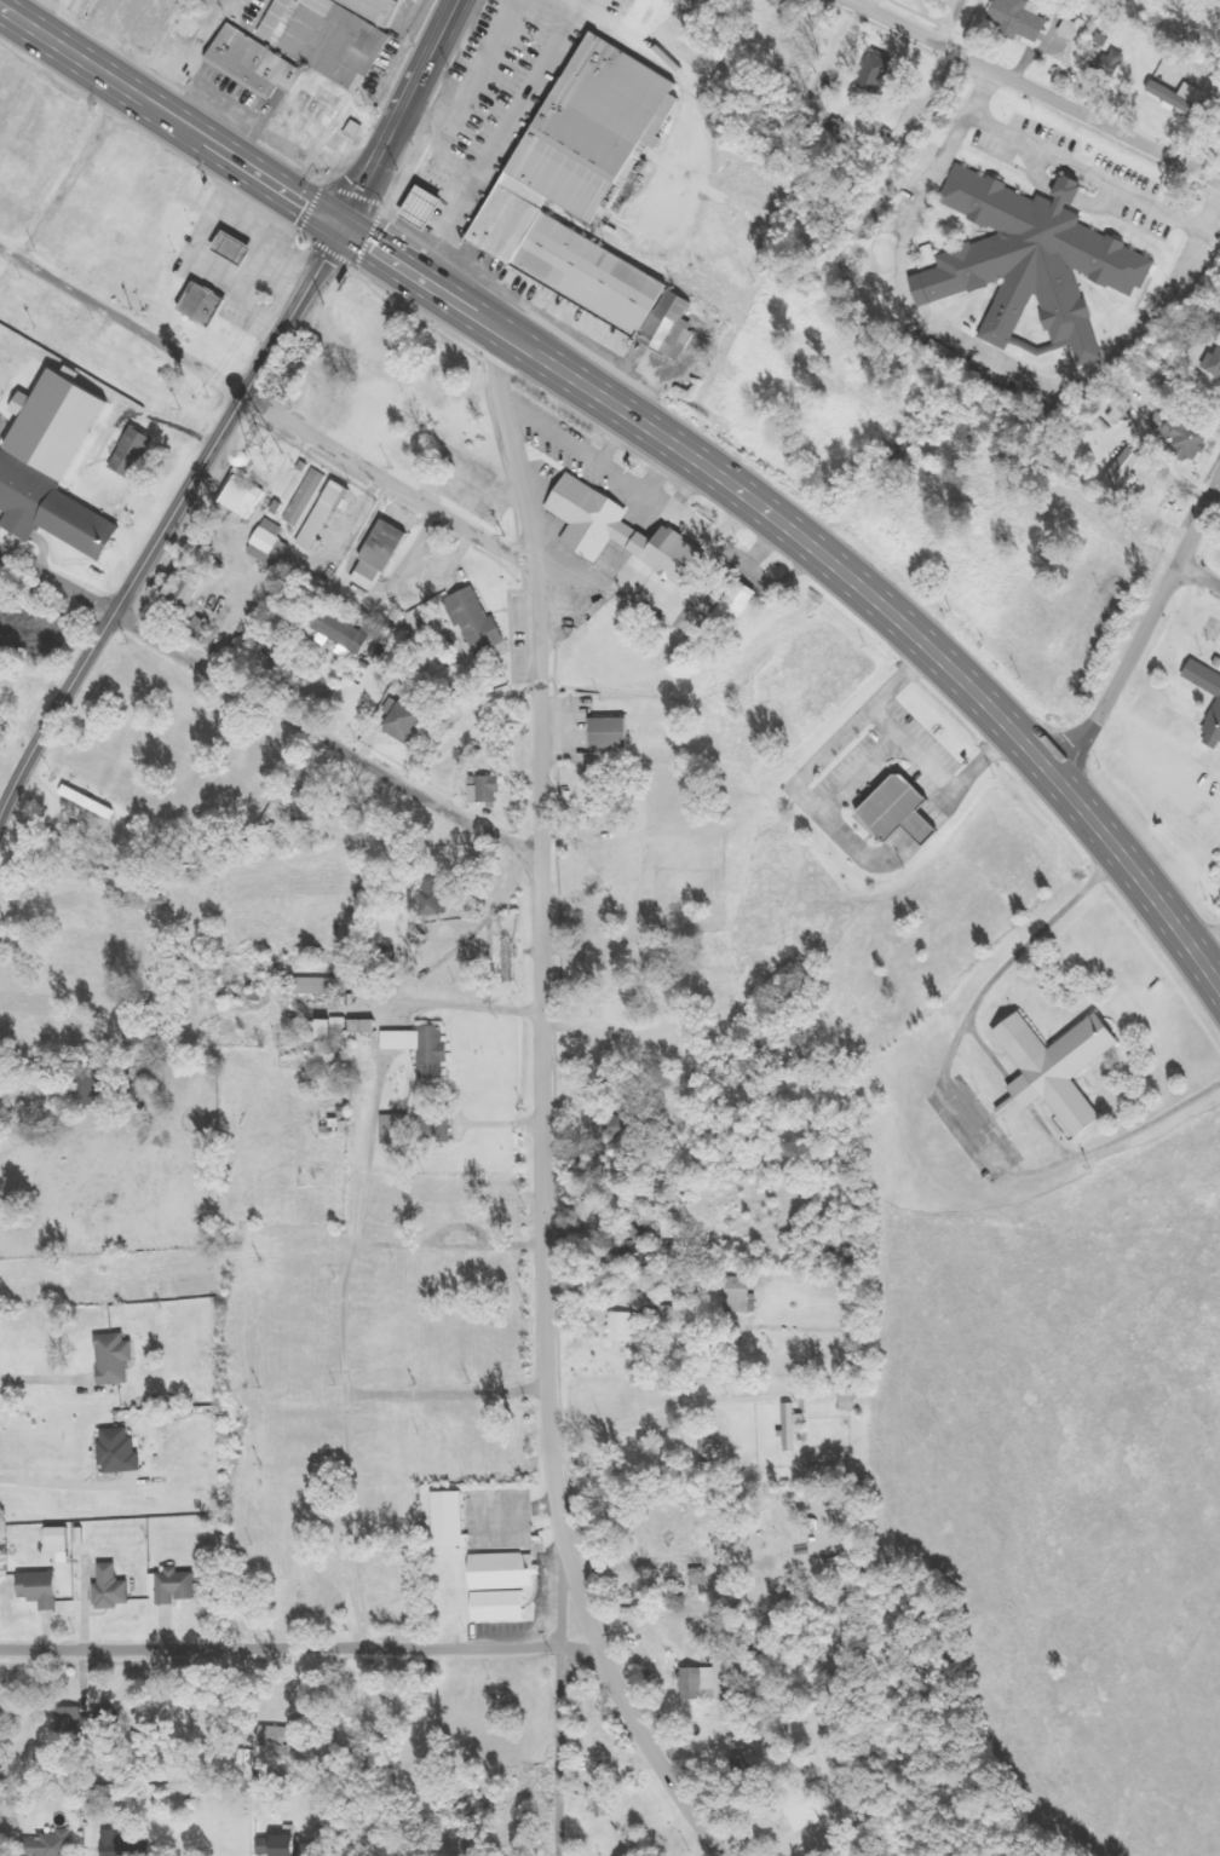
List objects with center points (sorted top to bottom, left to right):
building: (1026, 18)
building: (672, 19)
road: (953, 24)
building: (192, 29)
building: (1077, 29)
building: (327, 38)
building: (1117, 62)
building: (260, 64)
building: (881, 74)
road: (1029, 91)
building: (1185, 97)
road: (402, 111)
building: (289, 122)
building: (301, 126)
building: (595, 128)
building: (359, 131)
building: (329, 138)
road: (247, 180)
road: (62, 189)
building: (433, 207)
building: (508, 218)
building: (243, 249)
parking lot: (242, 258)
building: (1038, 259)
building: (591, 275)
railway: (753, 275)
gas station: (202, 304)
building: (212, 305)
road: (120, 319)
building: (1218, 368)
building: (65, 423)
road: (658, 437)
building: (1195, 438)
building: (138, 451)
building: (1130, 472)
road: (385, 479)
building: (249, 492)
building: (309, 497)
building: (54, 508)
building: (330, 513)
road: (168, 517)
building: (627, 531)
building: (386, 557)
road: (1198, 577)
road: (57, 580)
building: (191, 593)
building: (742, 606)
building: (482, 622)
building: (347, 633)
road: (1143, 633)
building: (663, 662)
building: (1207, 676)
building: (410, 724)
building: (1215, 730)
building: (617, 733)
road: (326, 740)
building: (491, 790)
building: (94, 802)
building: (909, 811)
building: (433, 899)
building: (322, 986)
building: (240, 996)
building: (369, 1026)
building: (329, 1037)
building: (428, 1049)
building: (1065, 1068)
building: (98, 1089)
road: (541, 1114)
building: (620, 1128)
building: (398, 1130)
building: (743, 1295)
building: (674, 1314)
building: (629, 1327)
road: (341, 1353)
building: (121, 1359)
road: (447, 1394)
building: (792, 1425)
building: (125, 1452)
building: (450, 1521)
building: (65, 1544)
building: (501, 1586)
building: (180, 1587)
building: (117, 1589)
building: (46, 1590)
road: (301, 1647)
building: (701, 1683)
building: (108, 1717)
building: (287, 1735)
road: (558, 1751)
building: (801, 1809)
building: (115, 1843)
building: (52, 1844)
building: (277, 1845)

